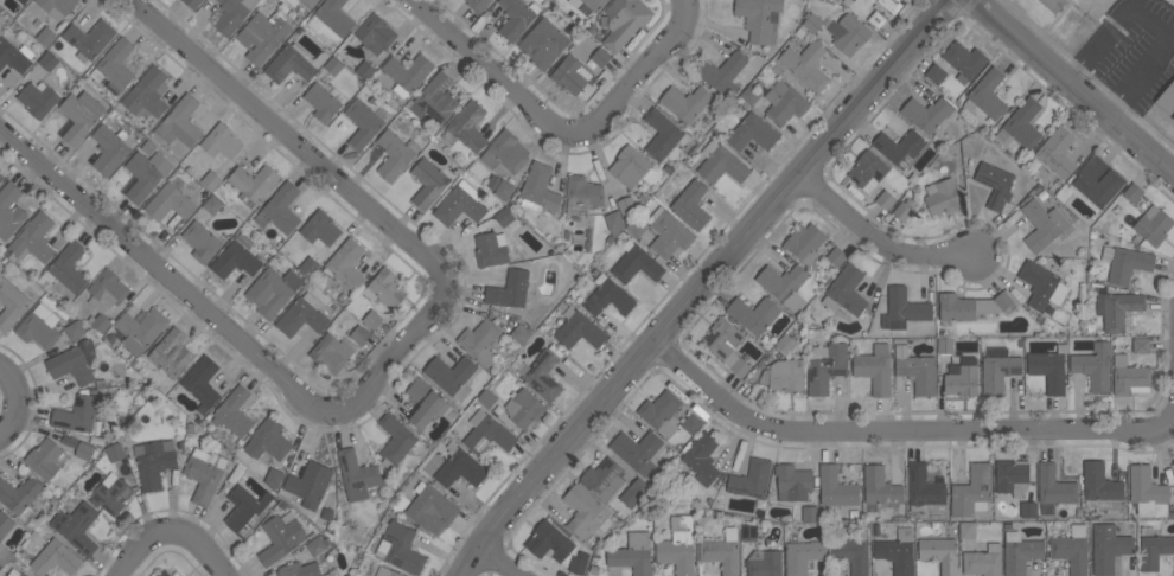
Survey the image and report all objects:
building: (23, 1)
building: (191, 2)
building: (301, 2)
building: (477, 5)
building: (588, 5)
building: (892, 5)
building: (1053, 5)
building: (57, 7)
building: (232, 14)
building: (331, 18)
building: (516, 18)
building: (760, 19)
building: (876, 19)
building: (623, 21)
building: (812, 23)
building: (848, 33)
building: (263, 34)
building: (374, 34)
building: (46, 37)
building: (89, 38)
building: (543, 44)
building: (14, 56)
building: (600, 57)
building: (47, 60)
building: (964, 60)
road: (1114, 62)
building: (292, 63)
building: (115, 64)
building: (333, 65)
building: (806, 65)
building: (364, 70)
building: (407, 73)
building: (570, 73)
building: (722, 73)
building: (936, 73)
road: (1074, 85)
building: (147, 94)
building: (749, 95)
building: (987, 95)
building: (436, 97)
building: (37, 98)
building: (1167, 98)
building: (321, 102)
building: (685, 102)
building: (784, 102)
building: (927, 113)
building: (79, 115)
building: (1173, 117)
building: (180, 122)
building: (362, 124)
building: (1021, 124)
building: (466, 127)
road: (561, 127)
building: (752, 133)
building: (661, 134)
building: (221, 142)
building: (899, 147)
building: (110, 148)
building: (505, 152)
building: (1057, 152)
building: (395, 154)
building: (720, 162)
building: (629, 166)
building: (868, 171)
building: (146, 174)
building: (1, 178)
building: (210, 180)
building: (1097, 180)
building: (254, 181)
building: (428, 183)
building: (995, 184)
building: (538, 188)
building: (504, 190)
building: (1132, 192)
building: (582, 194)
building: (943, 197)
building: (885, 199)
building: (170, 203)
building: (212, 204)
building: (460, 204)
building: (691, 204)
building: (626, 205)
building: (280, 209)
building: (9, 210)
building: (902, 211)
building: (506, 218)
building: (613, 222)
building: (1042, 224)
building: (1154, 225)
building: (636, 226)
building: (320, 229)
building: (669, 232)
building: (33, 238)
building: (202, 242)
road: (880, 242)
building: (805, 244)
building: (490, 249)
building: (836, 256)
building: (236, 258)
building: (346, 263)
building: (636, 263)
building: (1125, 263)
building: (70, 267)
building: (308, 267)
road: (704, 283)
building: (784, 286)
building: (1041, 286)
building: (384, 288)
building: (509, 289)
building: (106, 290)
building: (272, 290)
building: (846, 293)
building: (607, 296)
building: (1003, 300)
building: (11, 305)
building: (964, 306)
building: (902, 308)
building: (1117, 309)
building: (753, 314)
building: (302, 315)
building: (372, 320)
building: (101, 322)
building: (39, 326)
building: (141, 328)
building: (74, 329)
building: (578, 329)
building: (521, 333)
building: (480, 340)
building: (785, 344)
building: (726, 345)
building: (945, 345)
building: (1141, 345)
building: (172, 353)
building: (327, 353)
road: (393, 361)
building: (74, 363)
building: (825, 366)
building: (1095, 366)
building: (874, 369)
building: (917, 370)
building: (997, 370)
building: (1048, 370)
building: (451, 376)
building: (541, 376)
building: (784, 376)
building: (962, 377)
building: (1130, 377)
building: (202, 383)
building: (486, 398)
road: (17, 403)
building: (426, 403)
building: (524, 408)
building: (234, 411)
building: (661, 412)
building: (76, 414)
building: (691, 423)
road: (902, 430)
building: (487, 433)
building: (268, 440)
building: (396, 440)
building: (84, 450)
building: (637, 450)
building: (115, 453)
building: (701, 457)
building: (44, 459)
building: (154, 462)
building: (1173, 462)
building: (459, 467)
building: (204, 474)
building: (357, 474)
building: (1012, 476)
building: (274, 478)
building: (604, 479)
building: (751, 479)
building: (792, 481)
building: (1099, 482)
building: (308, 484)
building: (1054, 486)
building: (835, 488)
building: (879, 488)
building: (1146, 489)
building: (972, 491)
building: (634, 492)
building: (925, 493)
building: (111, 494)
building: (19, 495)
building: (430, 508)
building: (247, 510)
building: (1028, 510)
building: (586, 512)
building: (809, 513)
building: (5, 524)
building: (76, 527)
road: (172, 530)
building: (966, 530)
building: (748, 532)
building: (281, 536)
building: (549, 540)
building: (317, 545)
building: (678, 545)
building: (1, 546)
building: (400, 546)
building: (1108, 548)
building: (1072, 550)
building: (1154, 550)
building: (721, 551)
building: (898, 551)
building: (851, 552)
building: (633, 553)
building: (939, 553)
building: (1020, 553)
building: (802, 556)
building: (56, 558)
building: (579, 562)
building: (983, 562)
road: (503, 563)
building: (764, 563)
building: (0, 565)
building: (299, 569)
building: (385, 571)
building: (21, 574)
building: (164, 574)

